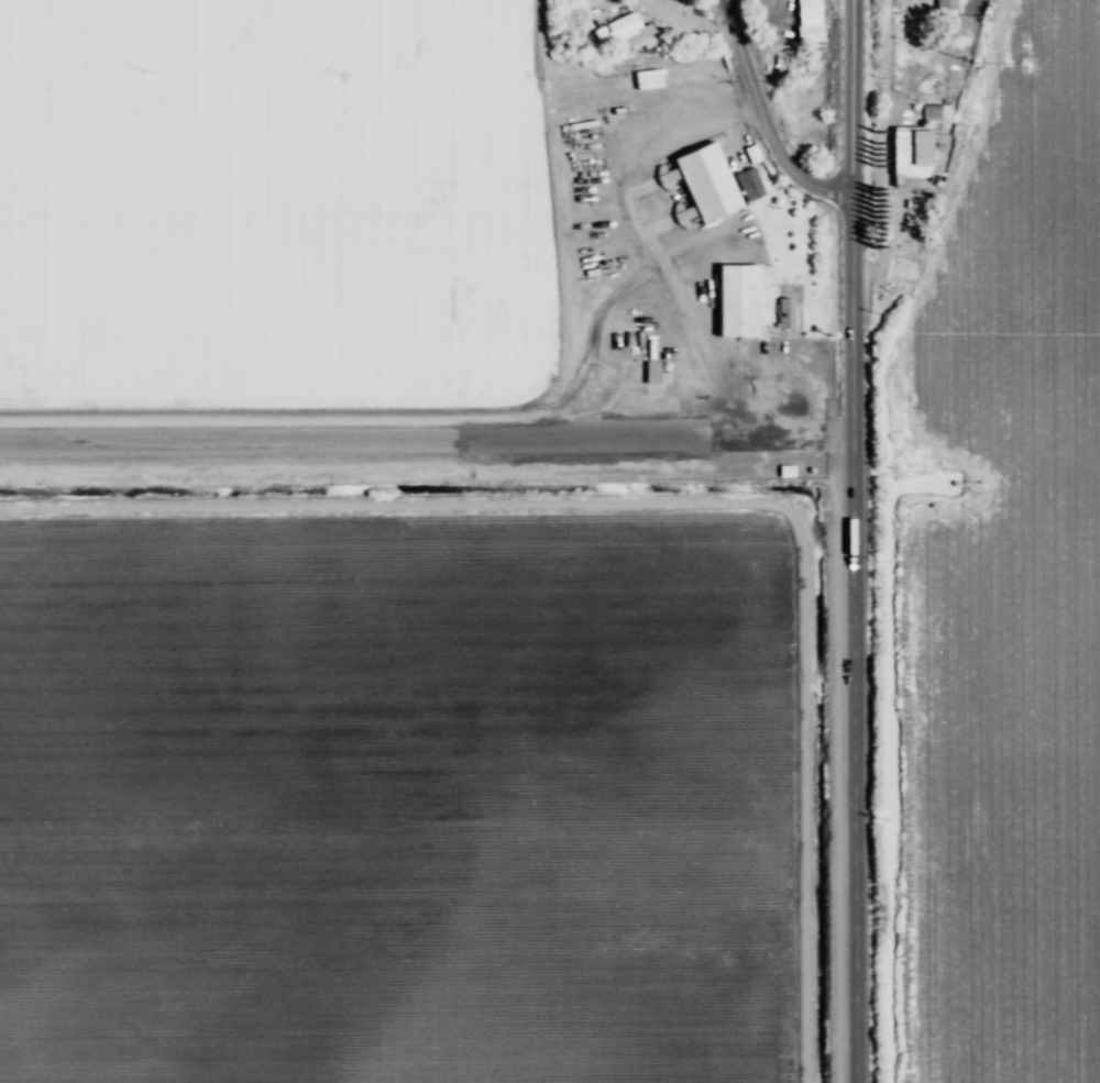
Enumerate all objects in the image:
road: (651, 4)
road: (659, 4)
building: (943, 4)
building: (806, 8)
road: (693, 21)
building: (621, 32)
building: (806, 34)
building: (935, 114)
road: (760, 120)
road: (880, 148)
building: (908, 154)
building: (697, 186)
building: (746, 186)
road: (630, 230)
building: (735, 301)
building: (783, 316)
building: (653, 373)
road: (426, 441)
building: (783, 472)
road: (961, 508)
road: (853, 541)
crop: (504, 600)

